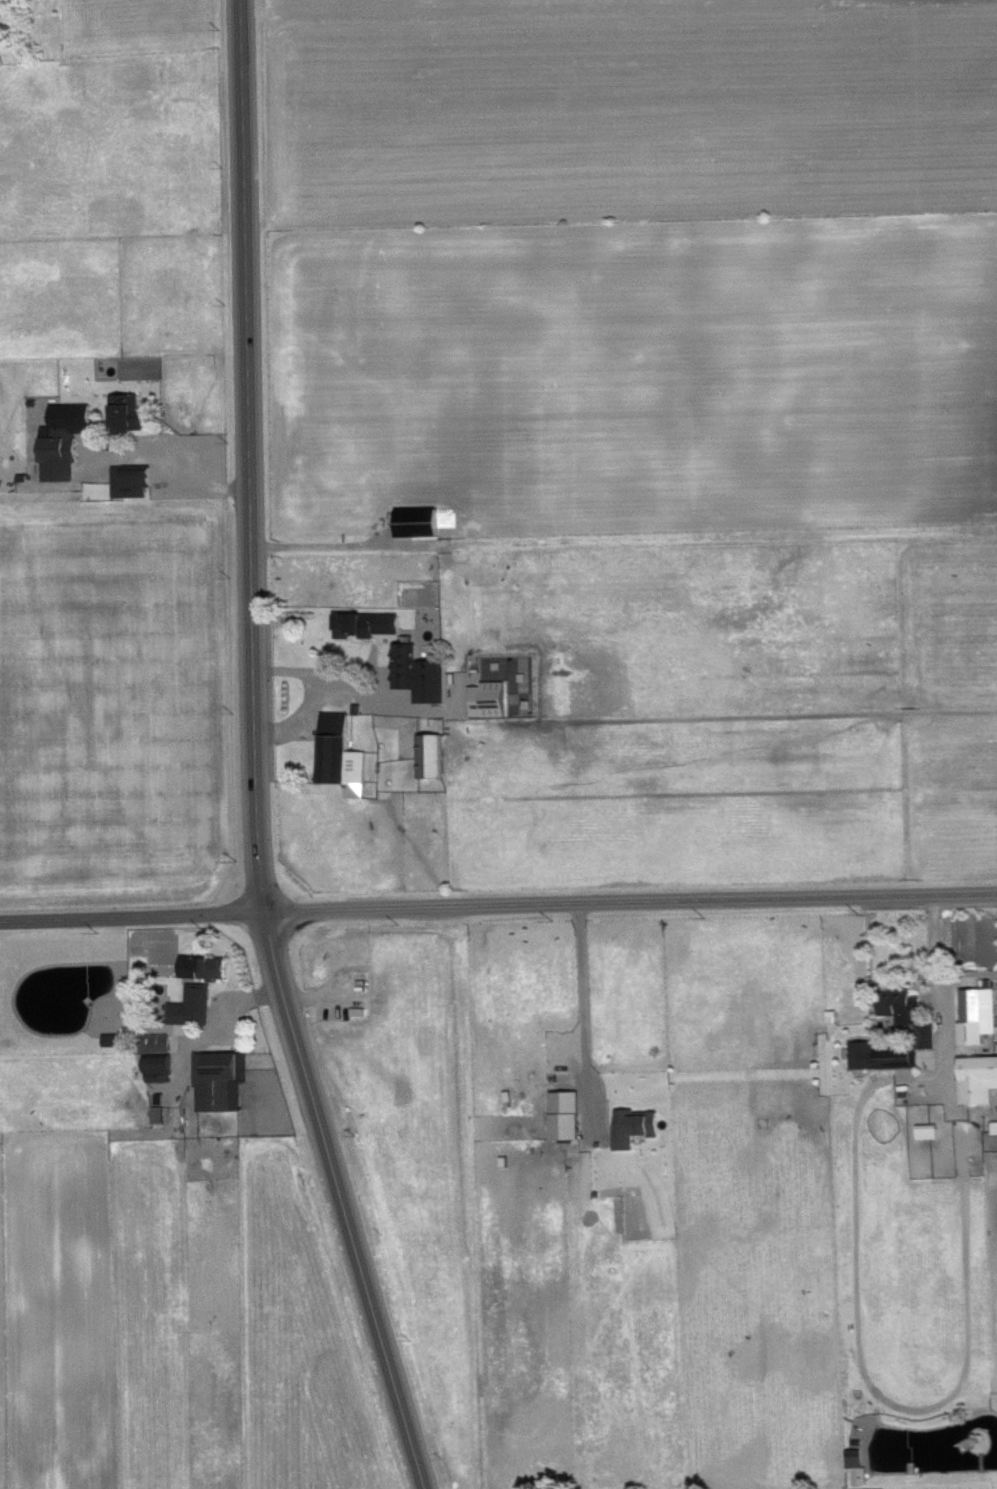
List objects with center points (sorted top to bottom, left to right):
building: (0, 21)
building: (125, 410)
building: (62, 438)
road: (253, 456)
road: (170, 477)
building: (416, 520)
building: (365, 622)
building: (418, 672)
road: (330, 691)
building: (487, 698)
building: (429, 753)
building: (339, 754)
road: (498, 904)
building: (202, 966)
road: (939, 983)
building: (900, 1003)
building: (190, 1006)
road: (584, 1012)
building: (977, 1013)
building: (925, 1035)
building: (110, 1038)
building: (156, 1041)
building: (881, 1054)
building: (157, 1067)
building: (977, 1077)
building: (218, 1079)
building: (157, 1113)
building: (564, 1113)
building: (633, 1126)
building: (994, 1126)
building: (927, 1130)
road: (345, 1201)
building: (857, 1468)

